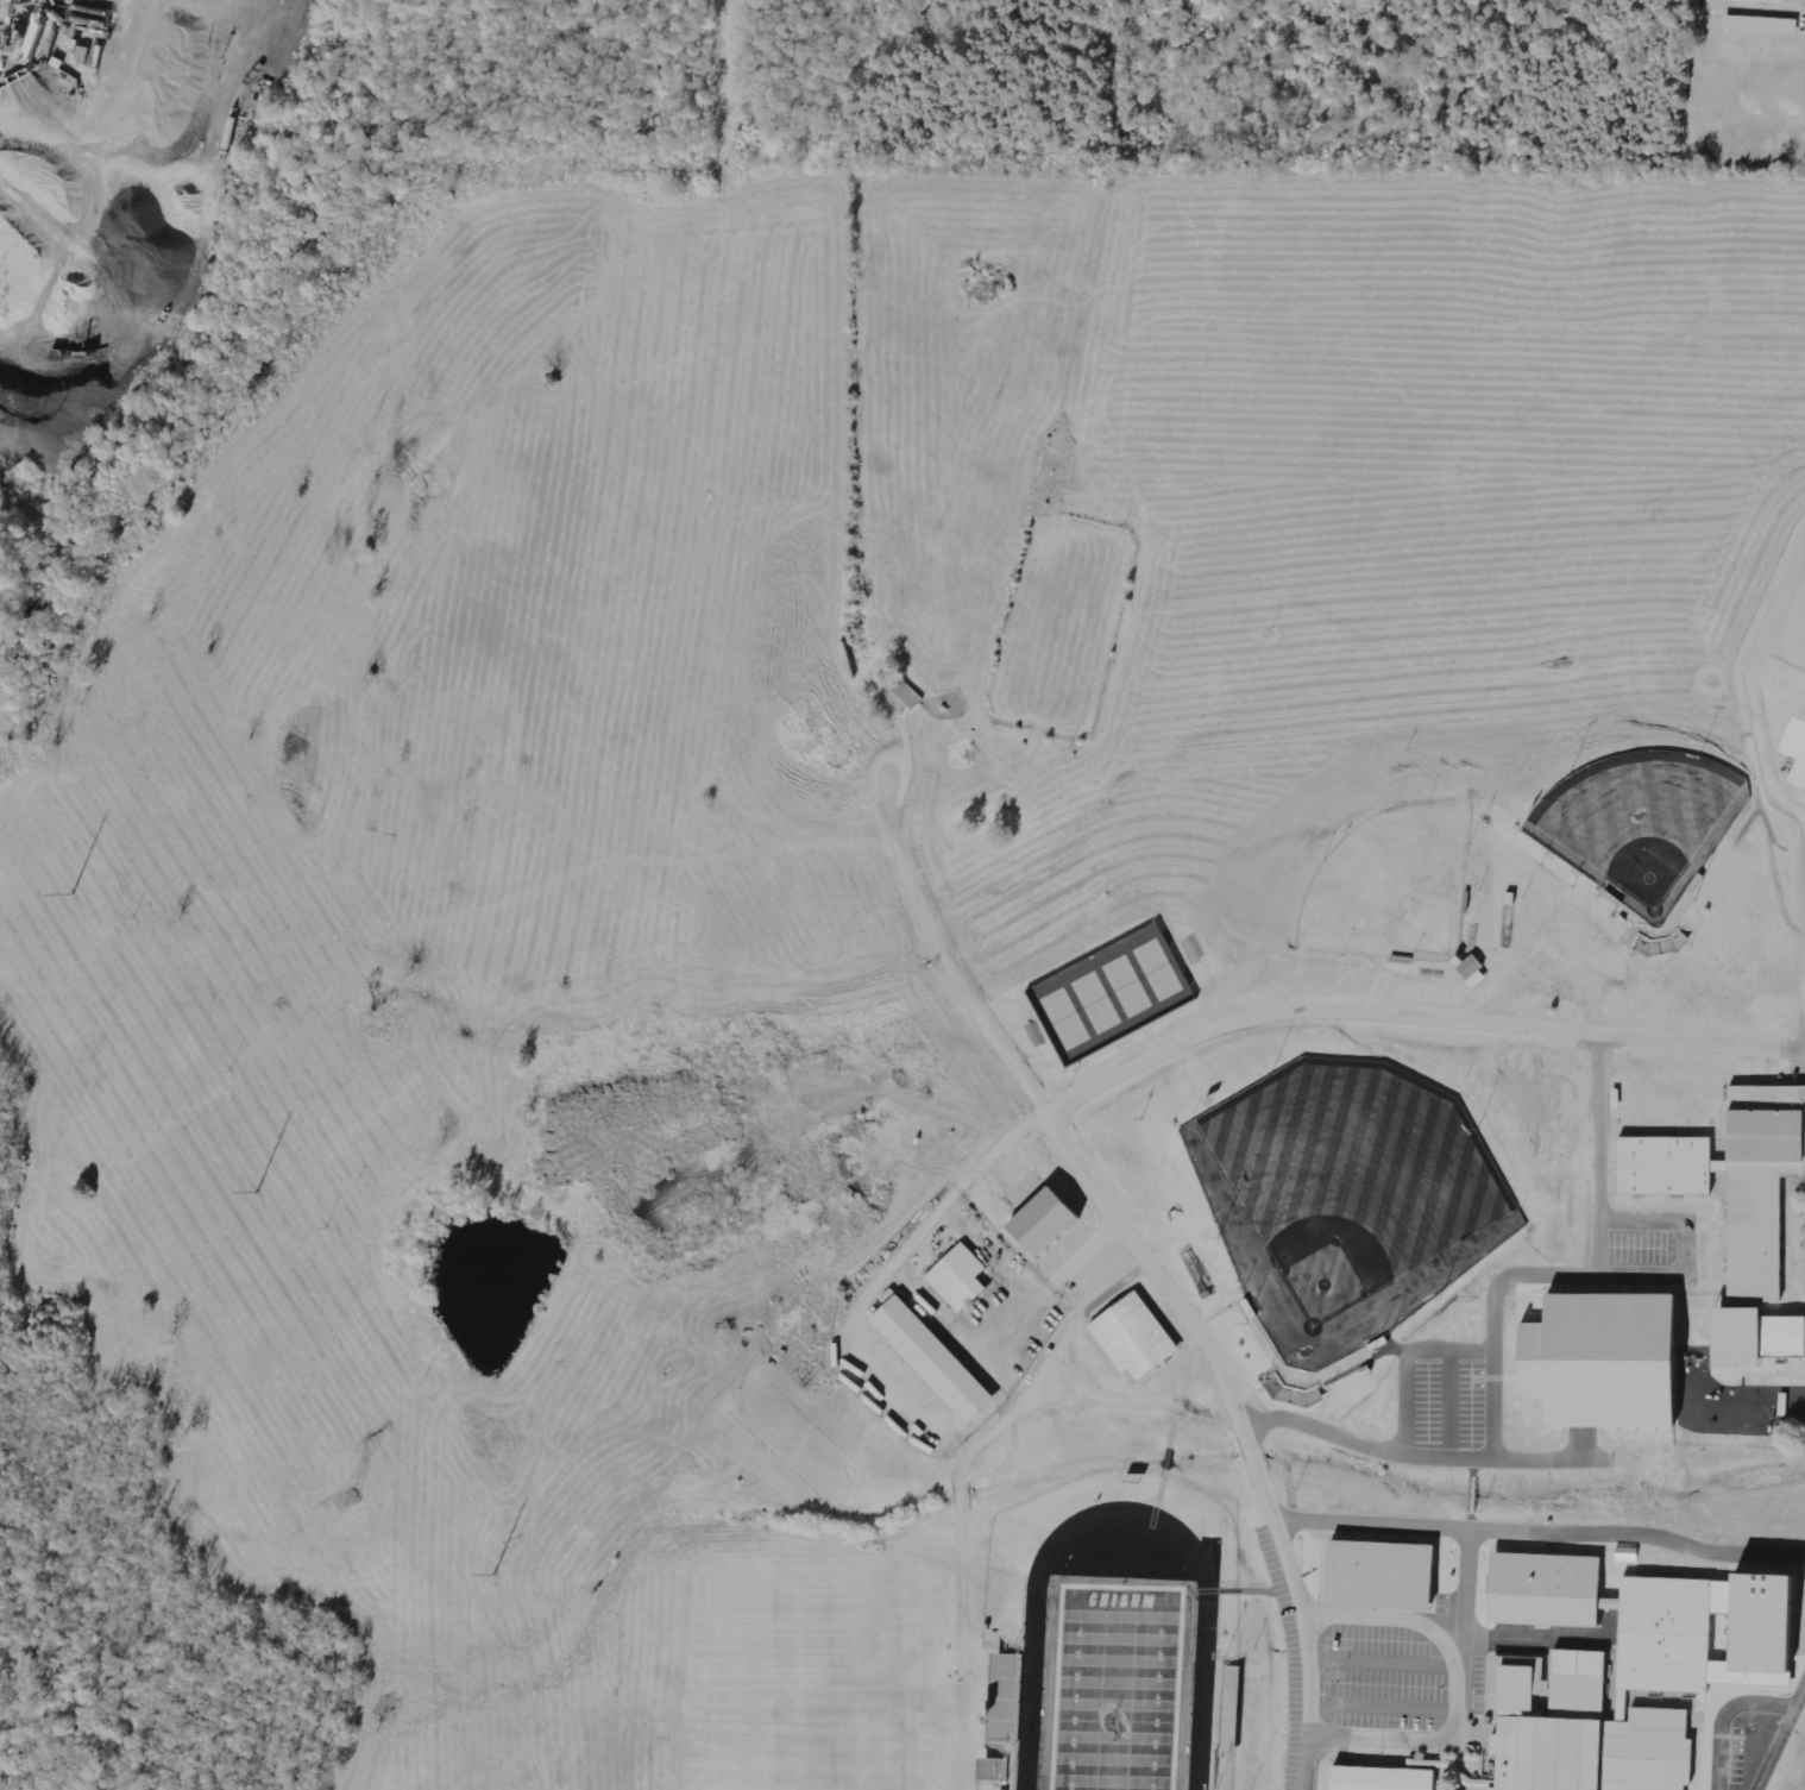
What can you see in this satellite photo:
building: (1769, 0)
building: (1760, 24)
road: (1750, 686)
building: (894, 697)
building: (1794, 737)
park: (1642, 819)
building: (1471, 972)
road: (1062, 1103)
park: (1347, 1195)
building: (1729, 1200)
building: (1030, 1223)
building: (950, 1275)
building: (1803, 1330)
building: (1126, 1333)
building: (930, 1358)
building: (1598, 1361)
power tower: (353, 1502)
building: (1378, 1575)
building: (1659, 1631)
building: (1231, 1690)
building: (1005, 1698)
road: (1779, 1733)
building: (1585, 1738)
building: (992, 1769)
building: (1372, 1777)

